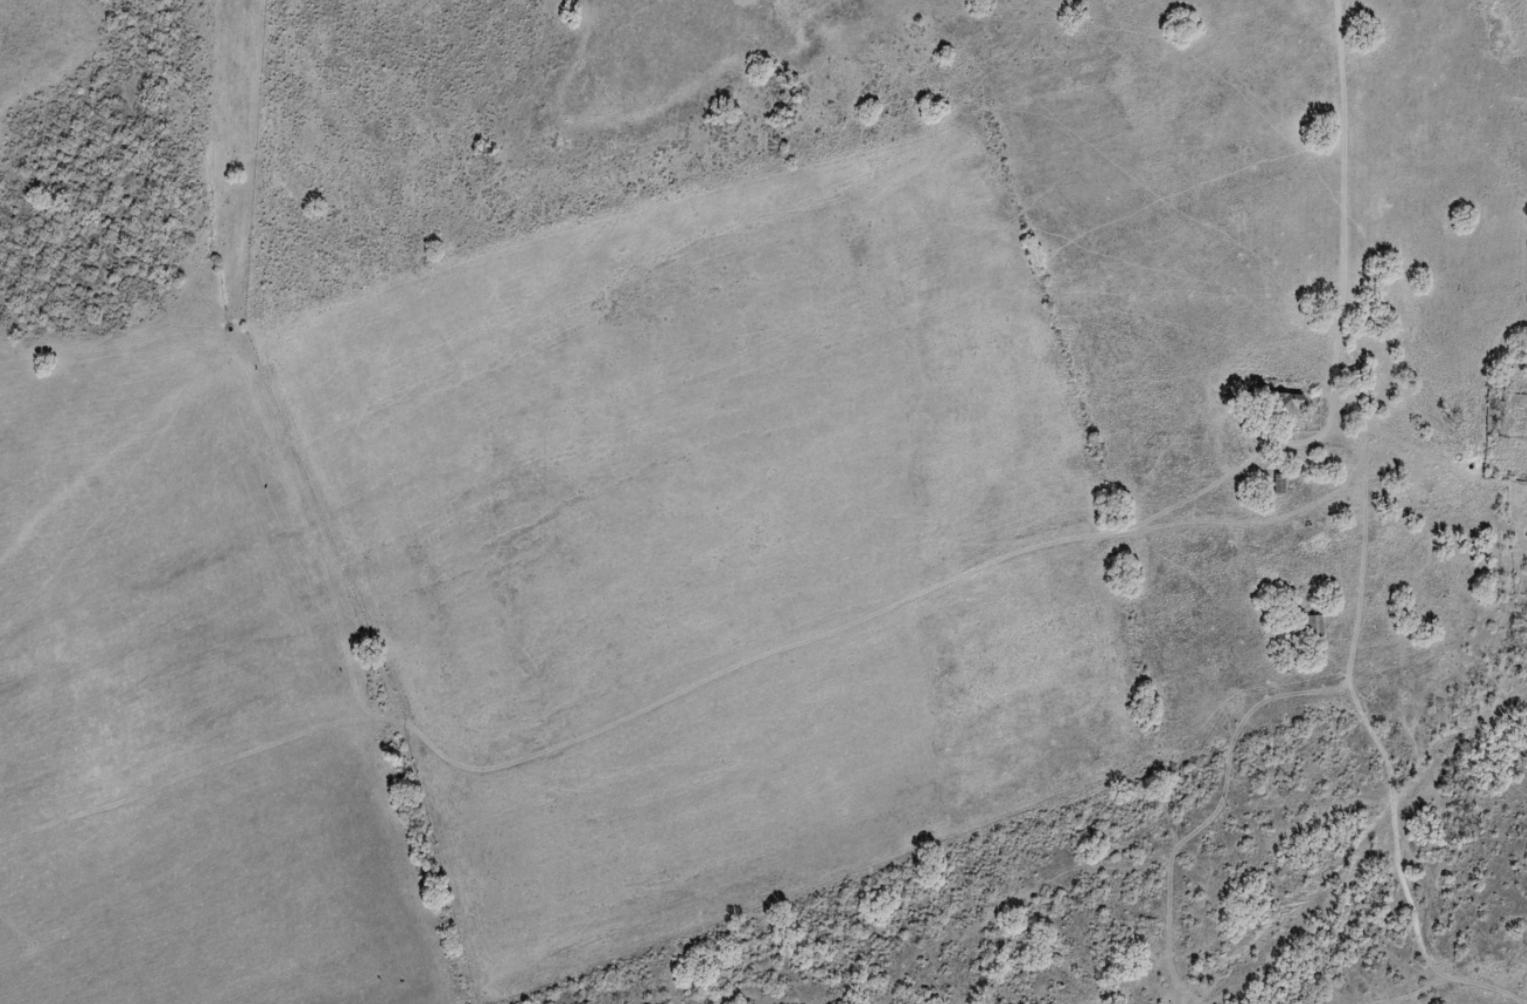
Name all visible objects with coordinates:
building: (1283, 406)
building: (1275, 483)
building: (1312, 625)

